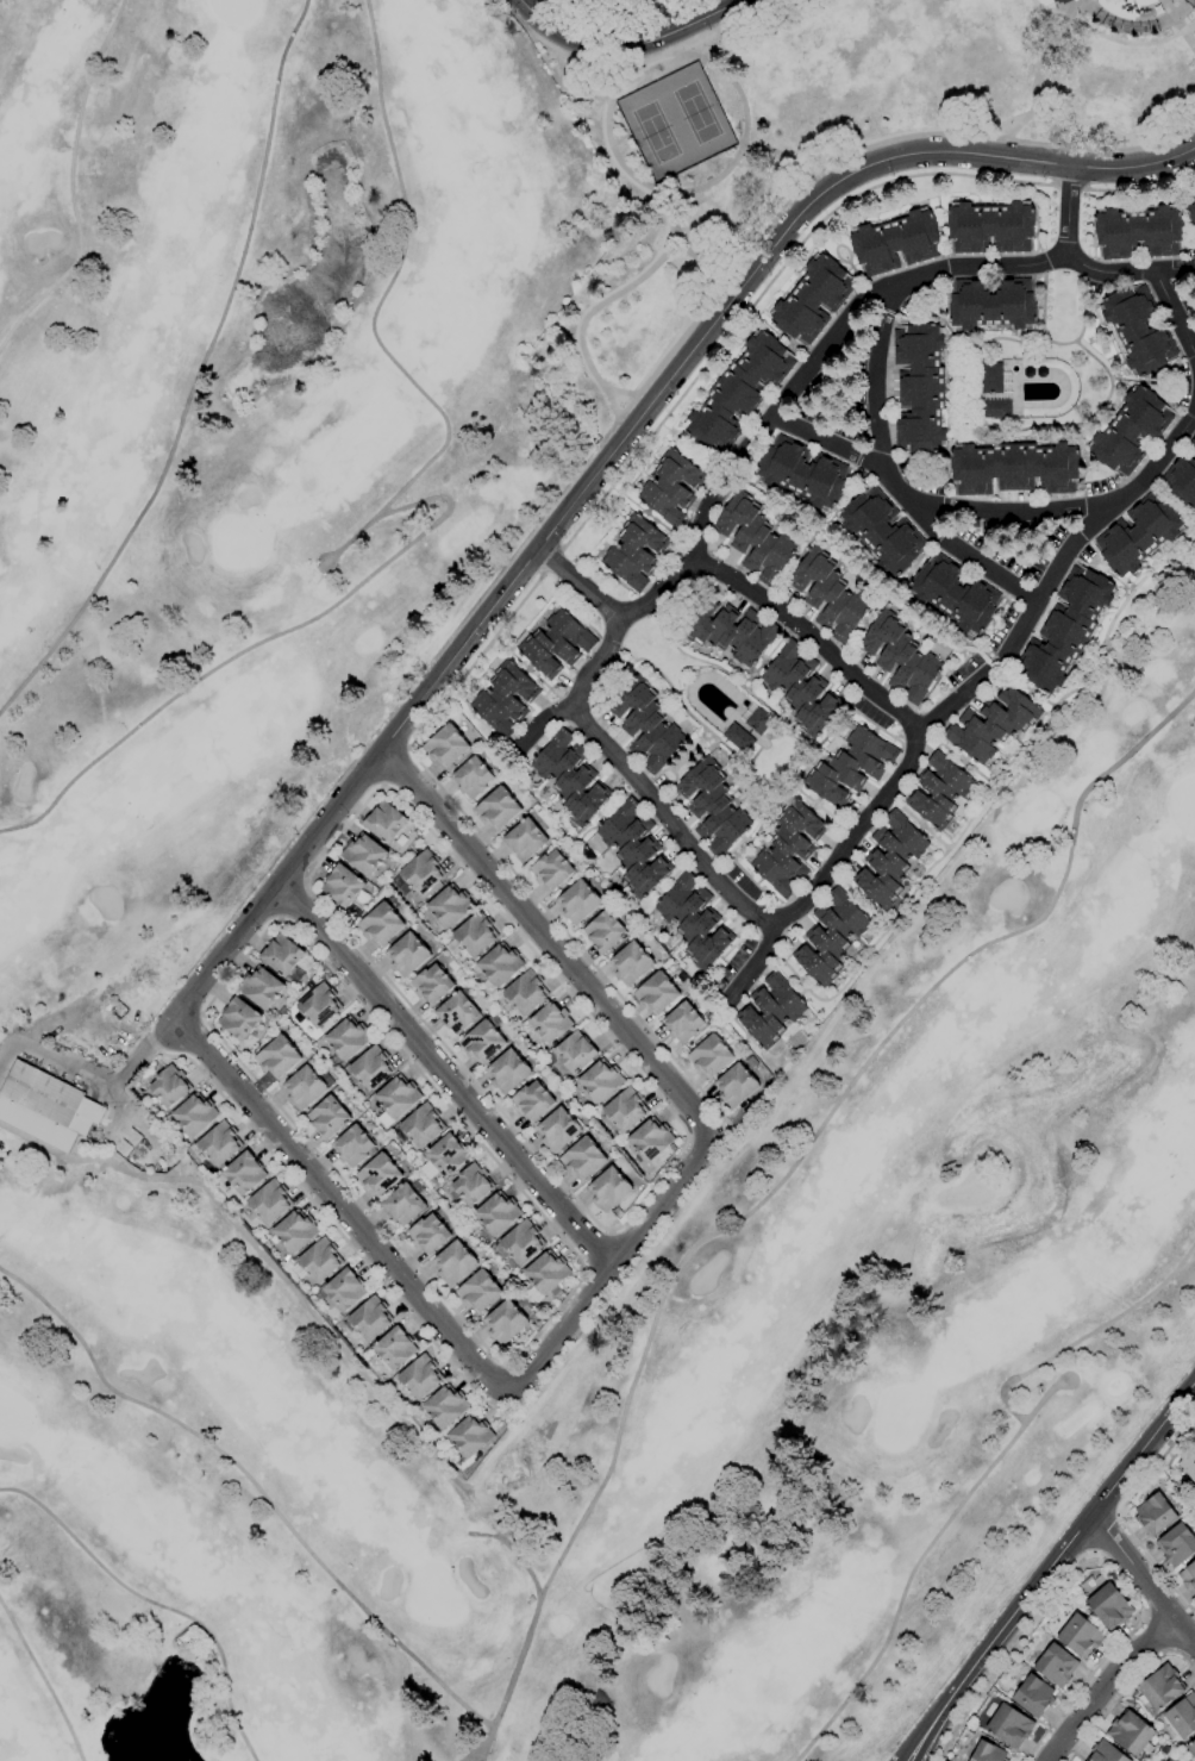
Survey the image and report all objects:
building: (589, 2)
road: (1043, 17)
road: (1176, 27)
road: (1134, 29)
road: (619, 30)
road: (632, 49)
road: (632, 60)
road: (650, 60)
road: (637, 69)
road: (1039, 69)
park: (695, 113)
road: (1047, 126)
park: (655, 133)
park: (824, 140)
road: (777, 157)
road: (1053, 164)
road: (1087, 169)
road: (68, 182)
road: (1068, 185)
road: (1141, 188)
building: (1191, 211)
road: (1066, 212)
building: (990, 227)
building: (1138, 232)
building: (895, 243)
road: (843, 258)
road: (739, 264)
road: (1176, 271)
building: (1177, 287)
road: (765, 288)
parking lot: (1185, 298)
road: (605, 299)
parking lot: (915, 299)
building: (812, 300)
road: (1081, 302)
building: (991, 304)
road: (932, 318)
building: (1138, 330)
road: (952, 335)
road: (812, 364)
road: (195, 373)
building: (991, 379)
parking lot: (818, 381)
road: (875, 381)
road: (1158, 382)
parking lot: (1181, 386)
building: (919, 388)
building: (738, 393)
road: (1169, 406)
building: (996, 408)
road: (981, 425)
building: (1130, 431)
road: (825, 443)
building: (1191, 444)
road: (609, 454)
road: (928, 456)
road: (1085, 467)
building: (1014, 468)
road: (737, 470)
building: (802, 473)
road: (1109, 474)
building: (1182, 479)
parking lot: (918, 481)
road: (945, 481)
building: (671, 487)
parking lot: (1097, 487)
road: (1169, 500)
road: (405, 506)
road: (699, 523)
building: (882, 531)
building: (1138, 535)
road: (349, 538)
building: (753, 538)
road: (832, 538)
road: (1091, 548)
building: (636, 552)
road: (966, 555)
parking lot: (999, 556)
road: (552, 560)
road: (1097, 569)
road: (1047, 577)
road: (577, 582)
parking lot: (681, 594)
building: (955, 594)
building: (828, 595)
parking lot: (1000, 627)
building: (1064, 630)
building: (727, 631)
building: (556, 644)
road: (768, 654)
building: (900, 657)
road: (709, 664)
road: (995, 667)
parking lot: (963, 670)
parking lot: (606, 679)
road: (1025, 686)
building: (801, 689)
building: (503, 699)
road: (955, 699)
road: (677, 700)
parking lot: (872, 714)
building: (756, 719)
road: (838, 719)
building: (644, 724)
building: (991, 724)
road: (546, 726)
road: (880, 732)
building: (738, 738)
building: (445, 747)
road: (408, 748)
road: (692, 753)
road: (953, 756)
road: (802, 764)
road: (394, 766)
building: (850, 767)
building: (570, 778)
road: (674, 778)
building: (471, 779)
parking lot: (661, 783)
road: (382, 786)
building: (938, 791)
road: (981, 792)
park: (158, 805)
building: (712, 807)
building: (498, 808)
road: (824, 811)
building: (384, 823)
road: (918, 823)
building: (525, 839)
building: (634, 848)
building: (788, 849)
building: (364, 855)
road: (498, 856)
building: (889, 860)
road: (733, 861)
building: (551, 870)
building: (423, 873)
road: (831, 874)
road: (305, 881)
parking lot: (740, 881)
building: (342, 886)
road: (290, 899)
road: (859, 900)
building: (577, 903)
building: (450, 906)
road: (279, 919)
building: (694, 922)
building: (381, 924)
building: (605, 931)
building: (475, 935)
building: (830, 937)
building: (281, 955)
building: (407, 955)
building: (500, 964)
building: (631, 964)
road: (756, 966)
parking lot: (730, 967)
building: (432, 985)
building: (261, 988)
building: (525, 993)
building: (655, 993)
building: (318, 1005)
building: (770, 1011)
building: (457, 1012)
building: (238, 1018)
building: (550, 1022)
building: (682, 1023)
building: (346, 1038)
building: (481, 1043)
building: (575, 1053)
building: (279, 1055)
building: (709, 1056)
building: (751, 1062)
road: (652, 1063)
building: (370, 1068)
building: (507, 1072)
road: (442, 1074)
road: (89, 1075)
building: (600, 1081)
building: (734, 1086)
building: (169, 1087)
building: (305, 1087)
building: (398, 1097)
building: (531, 1101)
building: (45, 1107)
building: (625, 1109)
building: (195, 1114)
building: (327, 1117)
building: (421, 1124)
building: (557, 1130)
road: (721, 1131)
road: (705, 1135)
road: (688, 1137)
building: (651, 1139)
building: (219, 1144)
building: (354, 1145)
building: (444, 1157)
building: (581, 1159)
building: (244, 1174)
building: (377, 1174)
building: (471, 1184)
building: (608, 1189)
building: (269, 1203)
building: (402, 1204)
road: (340, 1209)
building: (498, 1213)
road: (330, 1223)
road: (611, 1229)
building: (295, 1232)
road: (611, 1232)
building: (427, 1234)
building: (521, 1242)
road: (599, 1251)
building: (320, 1261)
building: (453, 1262)
road: (584, 1269)
building: (546, 1272)
building: (344, 1289)
building: (478, 1291)
building: (370, 1319)
building: (505, 1322)
building: (394, 1348)
road: (507, 1362)
building: (420, 1378)
road: (1040, 1398)
building: (445, 1406)
building: (470, 1436)
road: (614, 1443)
road: (1141, 1447)
building: (1188, 1466)
road: (983, 1469)
building: (1155, 1515)
road: (1119, 1516)
road: (1103, 1535)
building: (1176, 1544)
road: (512, 1548)
road: (1096, 1555)
road: (1132, 1567)
building: (1188, 1576)
road: (154, 1605)
building: (1109, 1606)
road: (1145, 1615)
road: (1159, 1631)
road: (1185, 1634)
road: (995, 1635)
building: (1080, 1636)
building: (182, 1638)
road: (1172, 1653)
building: (1056, 1666)
road: (44, 1682)
road: (1106, 1685)
building: (1160, 1687)
road: (1125, 1690)
building: (1033, 1697)
building: (1182, 1716)
building: (1009, 1726)
building: (1131, 1734)
road: (482, 1743)
building: (1191, 1748)
building: (988, 1753)
building: (1105, 1753)
building: (1159, 1760)
building: (1170, 1760)

